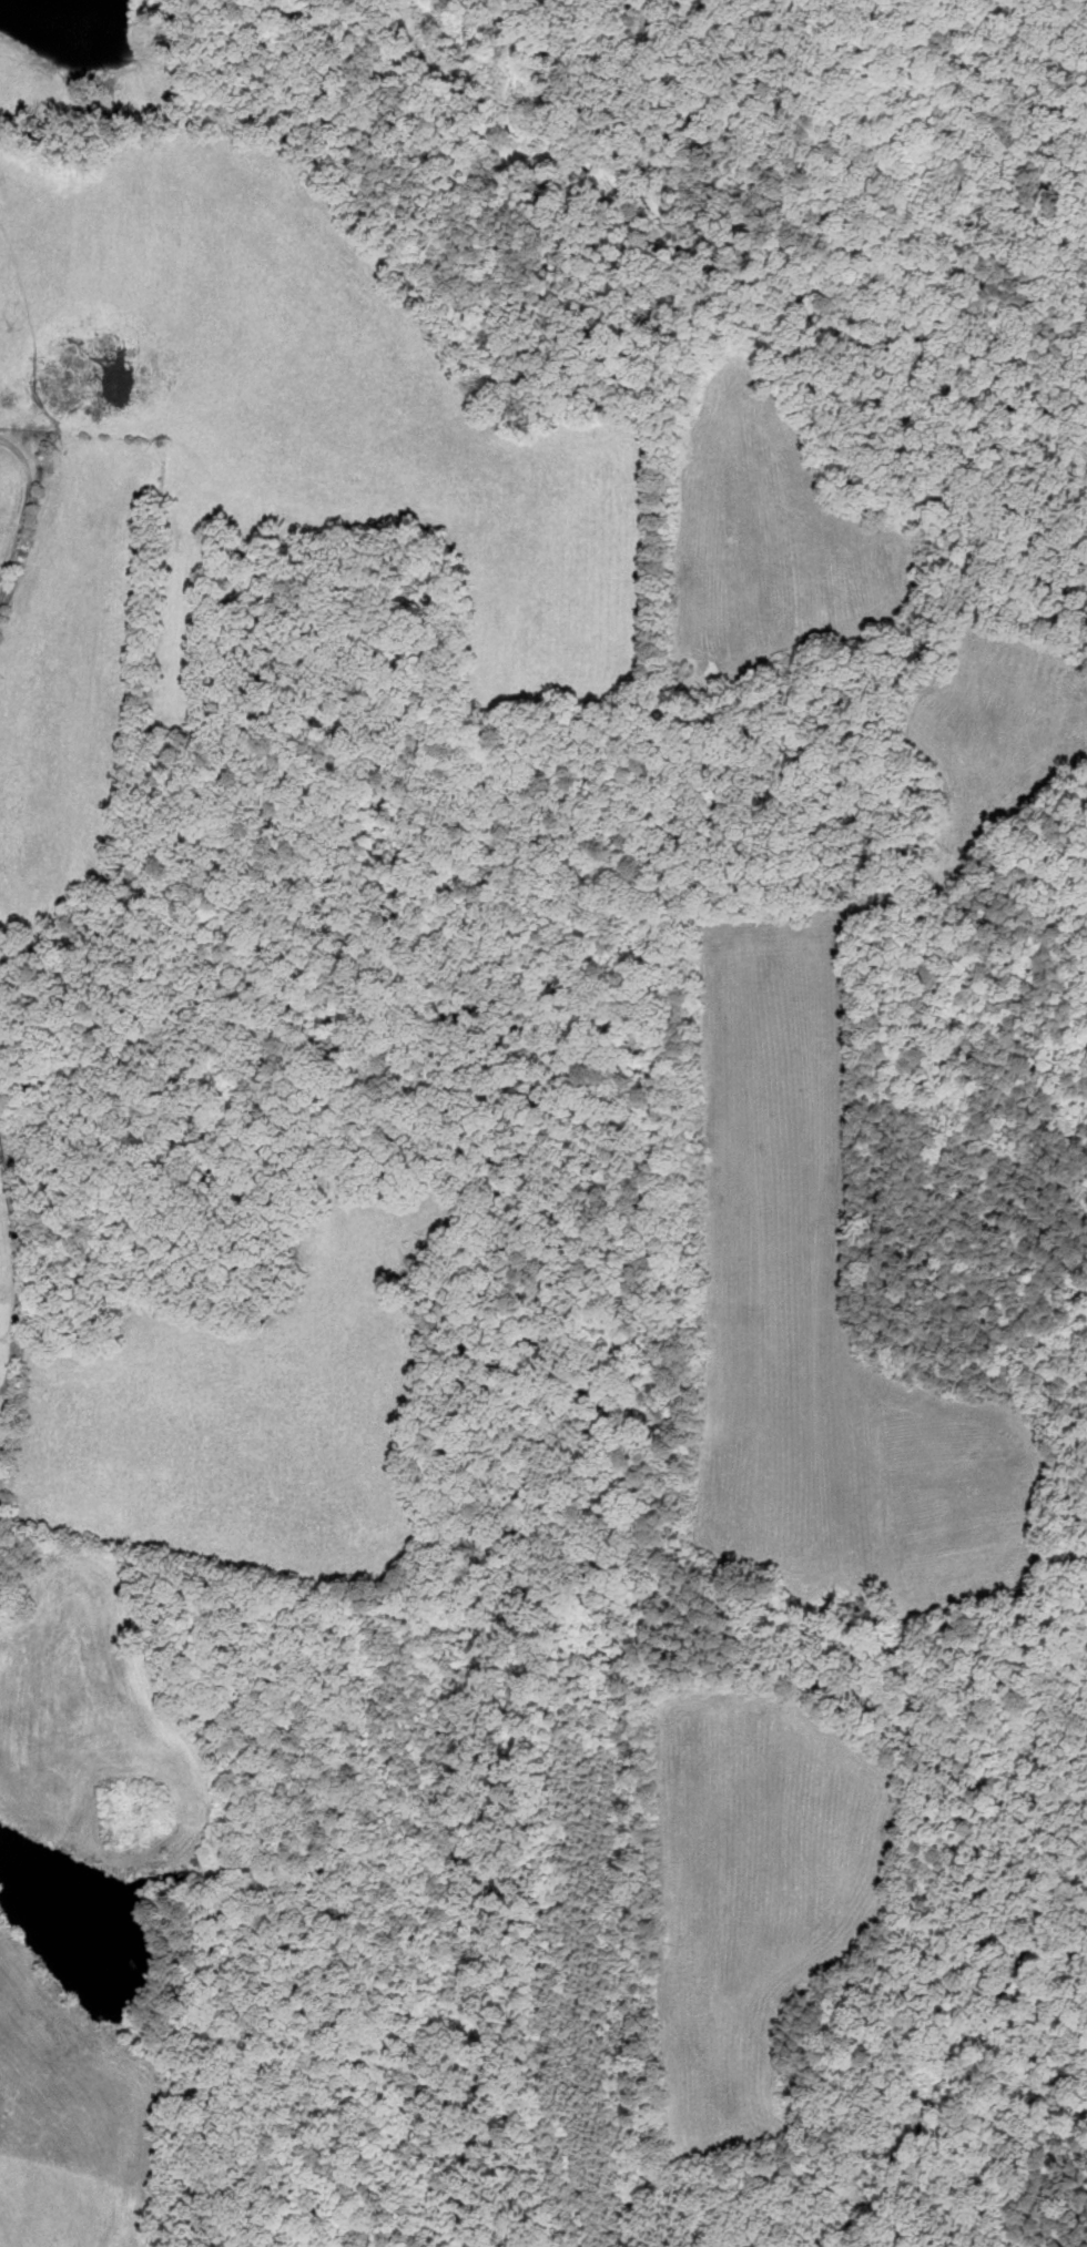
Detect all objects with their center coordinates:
road: (20, 512)
road: (16, 1264)

